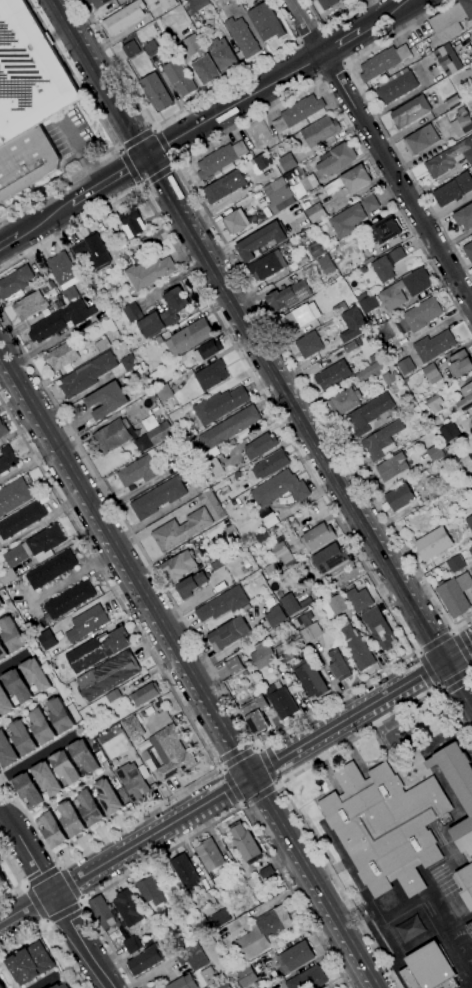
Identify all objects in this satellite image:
building: (338, 0)
building: (343, 0)
building: (226, 1)
building: (98, 3)
building: (327, 3)
building: (167, 4)
building: (198, 4)
building: (467, 7)
road: (385, 15)
building: (124, 18)
road: (332, 20)
building: (266, 22)
building: (448, 22)
building: (468, 24)
road: (310, 33)
road: (83, 36)
building: (242, 37)
road: (341, 41)
building: (151, 48)
building: (130, 49)
building: (222, 55)
building: (447, 58)
building: (200, 60)
building: (382, 62)
road: (116, 63)
road: (246, 71)
road: (332, 71)
building: (29, 74)
road: (70, 74)
building: (179, 77)
road: (94, 79)
road: (102, 81)
building: (396, 86)
building: (155, 92)
road: (127, 98)
road: (232, 104)
building: (410, 112)
building: (298, 113)
road: (375, 118)
building: (461, 122)
road: (246, 123)
road: (153, 128)
building: (320, 131)
road: (70, 136)
road: (135, 140)
building: (421, 140)
road: (163, 145)
road: (117, 149)
traffic signals: (157, 149)
road: (158, 151)
road: (381, 152)
traffic signals: (142, 159)
building: (335, 159)
building: (449, 159)
building: (220, 160)
building: (263, 161)
building: (26, 162)
building: (287, 162)
road: (127, 167)
road: (90, 170)
road: (156, 176)
building: (306, 180)
road: (104, 181)
building: (350, 181)
road: (57, 184)
building: (224, 187)
building: (453, 189)
road: (183, 194)
building: (275, 195)
building: (369, 203)
road: (396, 206)
road: (180, 211)
building: (315, 213)
building: (464, 217)
road: (42, 219)
building: (347, 220)
building: (235, 221)
building: (132, 223)
road: (71, 228)
building: (386, 229)
road: (8, 239)
building: (258, 241)
building: (316, 250)
building: (92, 251)
building: (468, 251)
building: (325, 264)
building: (387, 264)
building: (267, 265)
building: (149, 273)
building: (64, 275)
building: (15, 282)
building: (417, 288)
building: (289, 296)
building: (59, 302)
building: (369, 304)
building: (30, 305)
building: (132, 313)
building: (301, 316)
building: (418, 316)
building: (59, 321)
building: (385, 331)
building: (189, 337)
road: (55, 338)
building: (159, 340)
building: (102, 345)
building: (309, 345)
building: (434, 346)
building: (350, 347)
building: (207, 350)
building: (61, 356)
building: (460, 364)
building: (405, 366)
building: (370, 371)
building: (95, 373)
building: (432, 373)
building: (332, 374)
building: (211, 375)
building: (390, 378)
building: (164, 392)
road: (312, 394)
building: (465, 398)
building: (107, 400)
building: (344, 401)
building: (433, 402)
building: (220, 405)
road: (302, 405)
road: (291, 410)
building: (369, 413)
building: (471, 421)
building: (230, 428)
building: (3, 429)
building: (447, 432)
building: (113, 436)
building: (154, 437)
building: (382, 441)
building: (261, 446)
building: (469, 451)
building: (7, 459)
building: (184, 459)
building: (272, 464)
road: (24, 467)
building: (392, 467)
building: (213, 468)
building: (139, 471)
building: (279, 489)
building: (14, 496)
building: (159, 497)
building: (400, 497)
road: (322, 499)
building: (211, 505)
road: (153, 516)
building: (21, 520)
building: (269, 520)
building: (469, 523)
building: (181, 530)
road: (128, 533)
road: (109, 537)
building: (317, 537)
building: (433, 543)
road: (102, 546)
building: (471, 546)
building: (471, 549)
building: (279, 550)
building: (32, 551)
building: (287, 558)
building: (329, 558)
building: (456, 564)
building: (178, 566)
building: (51, 570)
building: (272, 570)
road: (69, 578)
road: (109, 584)
building: (190, 585)
building: (455, 594)
building: (358, 599)
building: (68, 600)
building: (0, 603)
building: (223, 604)
building: (289, 604)
road: (413, 605)
building: (335, 606)
road: (431, 610)
road: (3, 614)
building: (275, 617)
road: (461, 621)
building: (86, 623)
building: (379, 628)
road: (451, 631)
building: (310, 633)
building: (228, 634)
building: (12, 635)
building: (47, 640)
building: (114, 642)
road: (434, 643)
building: (354, 645)
road: (460, 650)
road: (455, 651)
building: (2, 652)
road: (415, 652)
traffic signals: (456, 652)
building: (283, 653)
building: (262, 655)
road: (13, 662)
traffic signals: (440, 662)
building: (234, 666)
building: (338, 666)
road: (470, 666)
road: (428, 669)
building: (221, 672)
building: (35, 674)
building: (107, 675)
road: (452, 675)
road: (470, 676)
building: (310, 678)
road: (451, 681)
building: (16, 686)
road: (437, 687)
building: (145, 694)
building: (281, 700)
building: (5, 702)
road: (27, 705)
road: (361, 709)
road: (467, 709)
building: (256, 714)
building: (60, 716)
road: (454, 718)
road: (212, 720)
building: (42, 727)
building: (132, 728)
building: (22, 737)
road: (210, 741)
road: (234, 748)
building: (7, 751)
building: (171, 753)
building: (84, 756)
road: (36, 757)
road: (234, 758)
road: (266, 766)
building: (65, 767)
road: (221, 769)
traffic signals: (250, 775)
building: (46, 778)
building: (132, 781)
road: (235, 783)
road: (274, 783)
traffic signals: (236, 784)
road: (230, 786)
building: (458, 789)
building: (28, 790)
road: (258, 794)
road: (66, 795)
building: (108, 797)
road: (266, 802)
road: (241, 803)
road: (290, 806)
building: (90, 809)
road: (2, 815)
road: (247, 817)
building: (71, 819)
building: (385, 826)
road: (261, 828)
building: (52, 830)
road: (152, 834)
road: (282, 838)
building: (244, 842)
road: (93, 843)
road: (27, 849)
building: (209, 855)
building: (468, 857)
road: (58, 865)
building: (185, 871)
building: (267, 874)
road: (41, 877)
road: (17, 878)
building: (2, 879)
road: (67, 882)
building: (251, 883)
building: (466, 885)
road: (23, 886)
building: (150, 891)
road: (34, 903)
road: (79, 903)
road: (26, 906)
building: (127, 907)
road: (330, 908)
building: (102, 912)
road: (60, 913)
building: (170, 914)
road: (321, 917)
building: (220, 918)
road: (436, 920)
road: (45, 922)
building: (408, 929)
building: (469, 929)
building: (264, 931)
road: (50, 933)
road: (80, 940)
road: (106, 942)
building: (132, 945)
building: (192, 957)
building: (294, 958)
building: (145, 960)
building: (31, 964)
building: (429, 970)
building: (209, 976)
building: (246, 976)
road: (144, 977)
building: (307, 979)
building: (183, 982)
building: (1, 983)
road: (47, 984)
building: (223, 985)
building: (61, 986)

